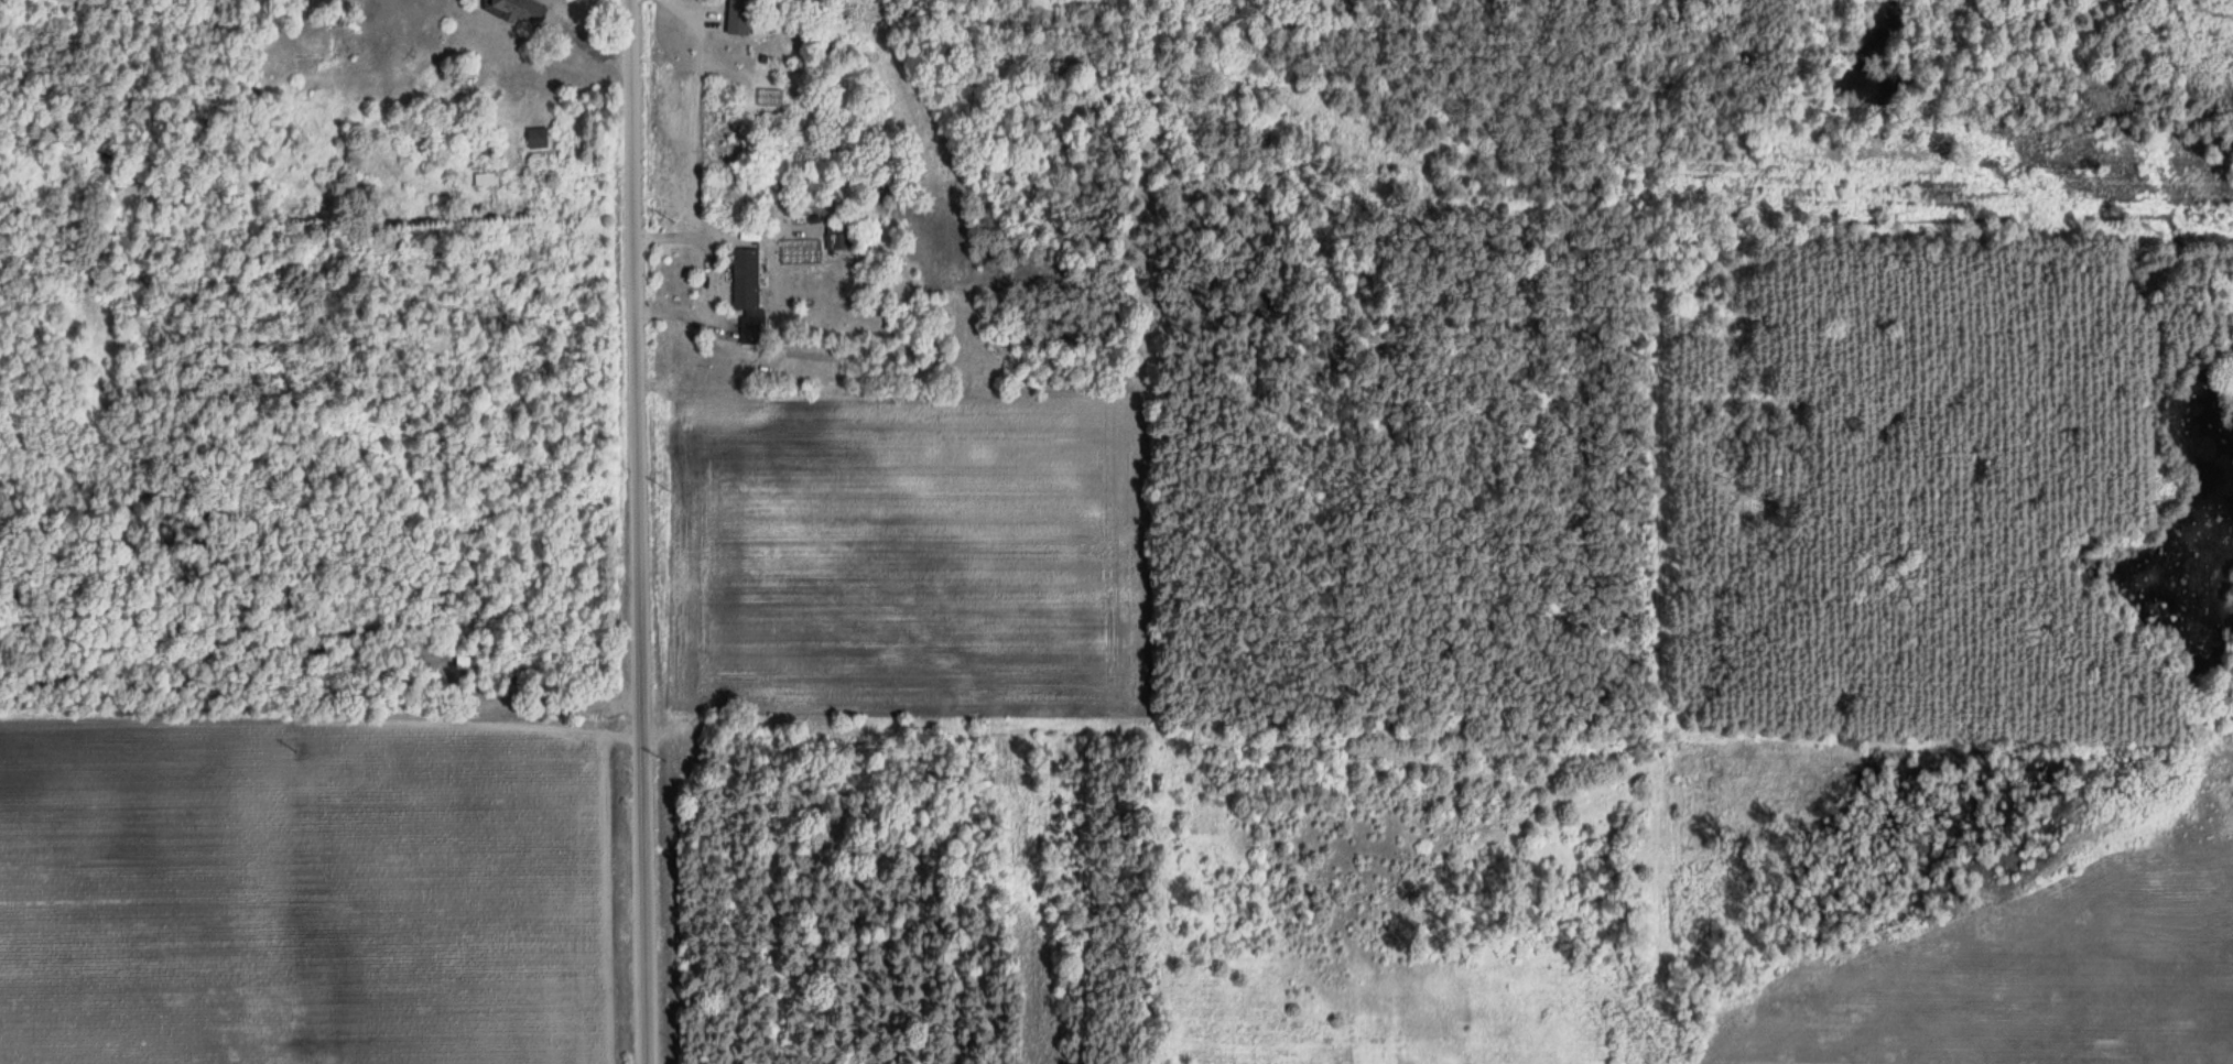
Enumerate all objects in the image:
building: (514, 10)
building: (736, 17)
building: (534, 138)
building: (483, 180)
building: (835, 238)
building: (742, 279)
road: (628, 532)

